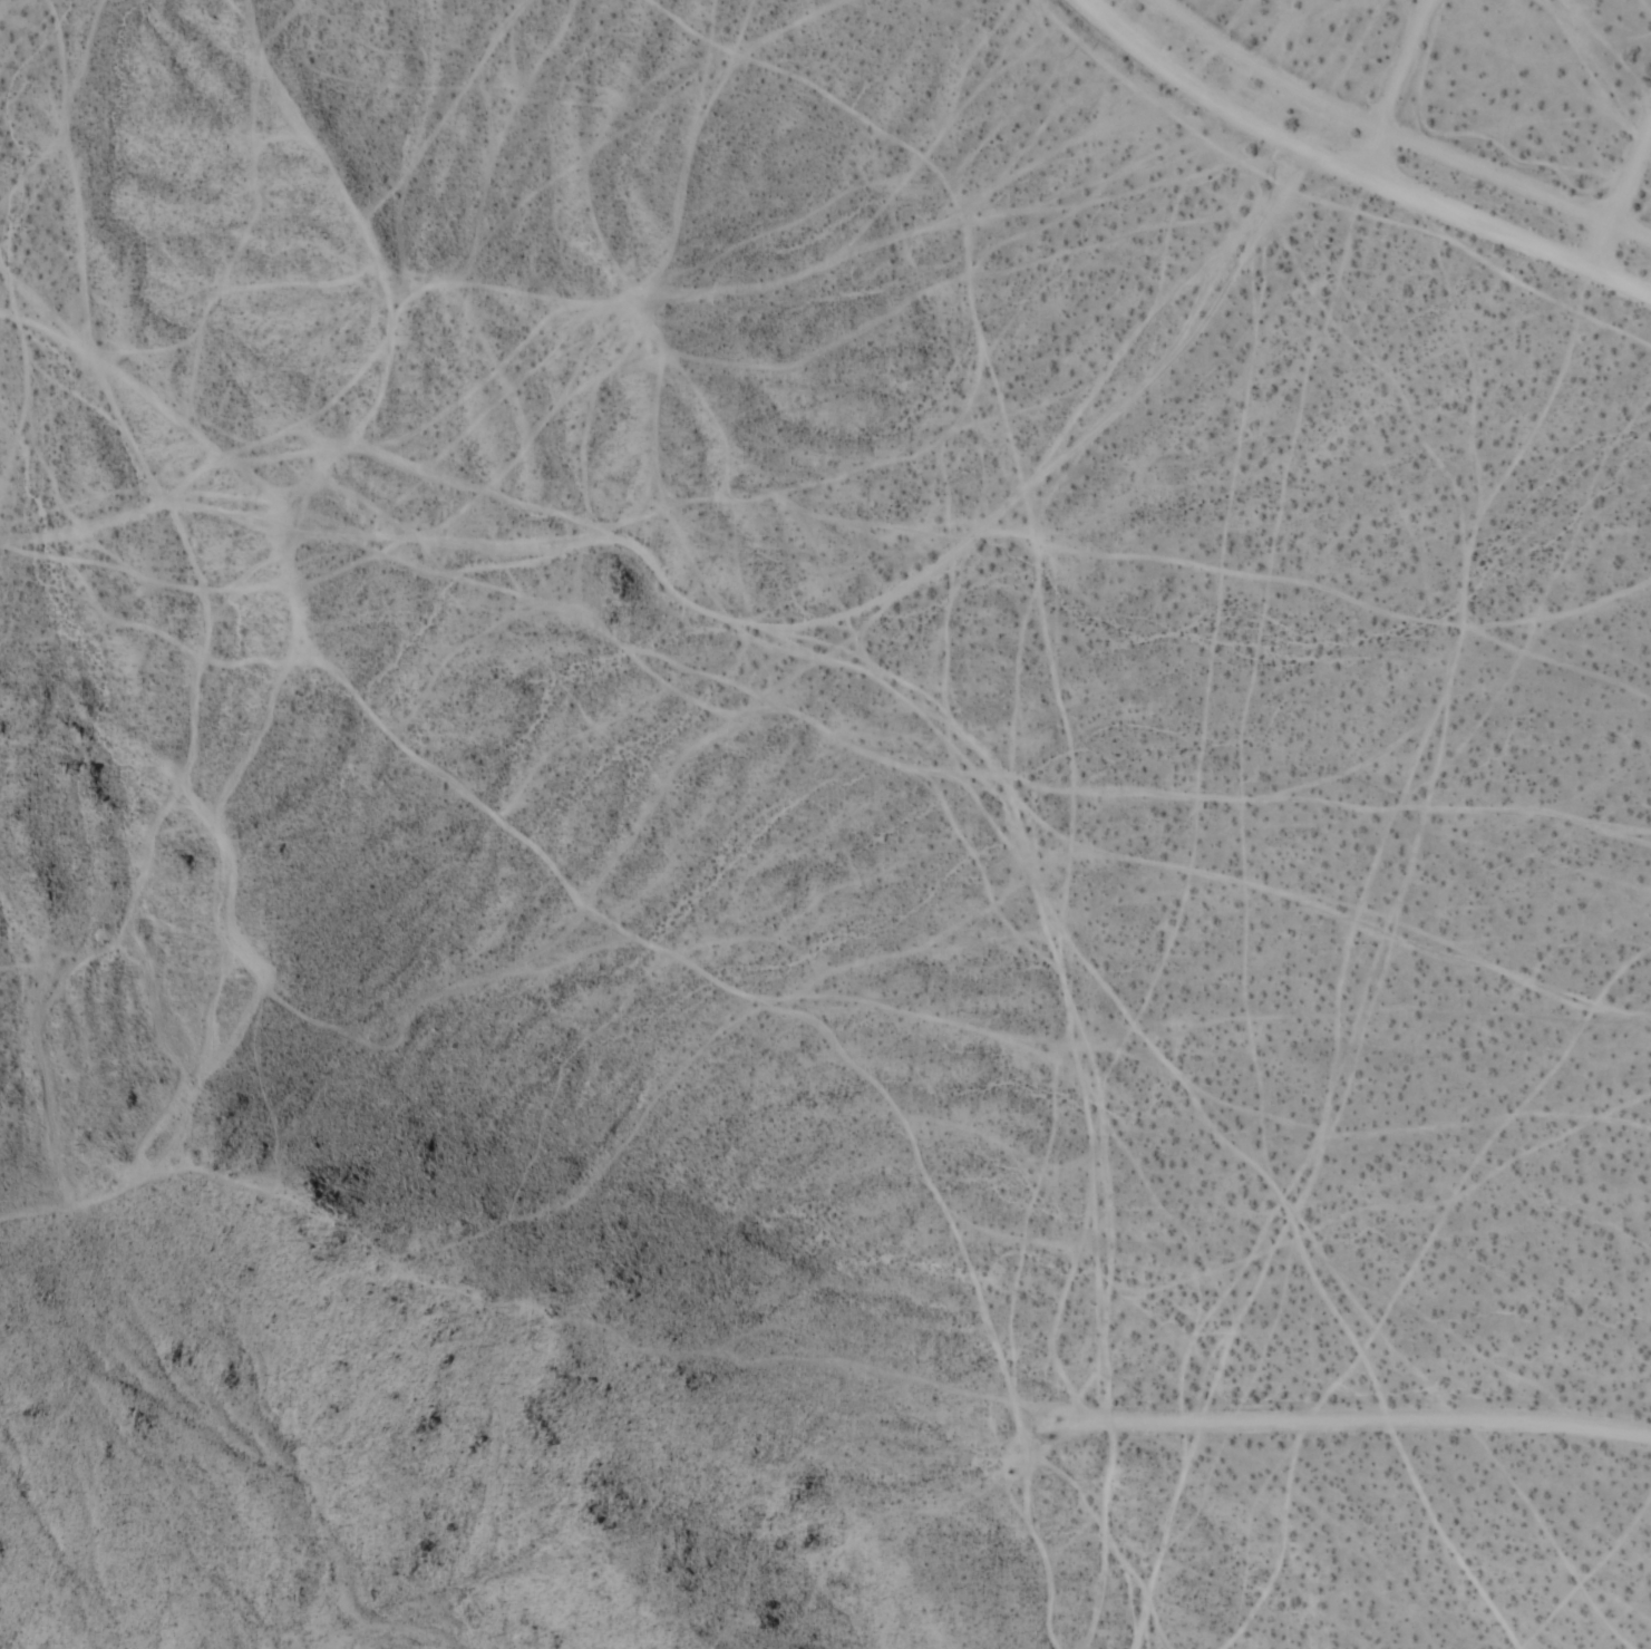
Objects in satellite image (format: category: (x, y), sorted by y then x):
road: (1395, 93)
crop: (1424, 123)
road: (1352, 176)
road: (1624, 202)
park: (736, 1516)

